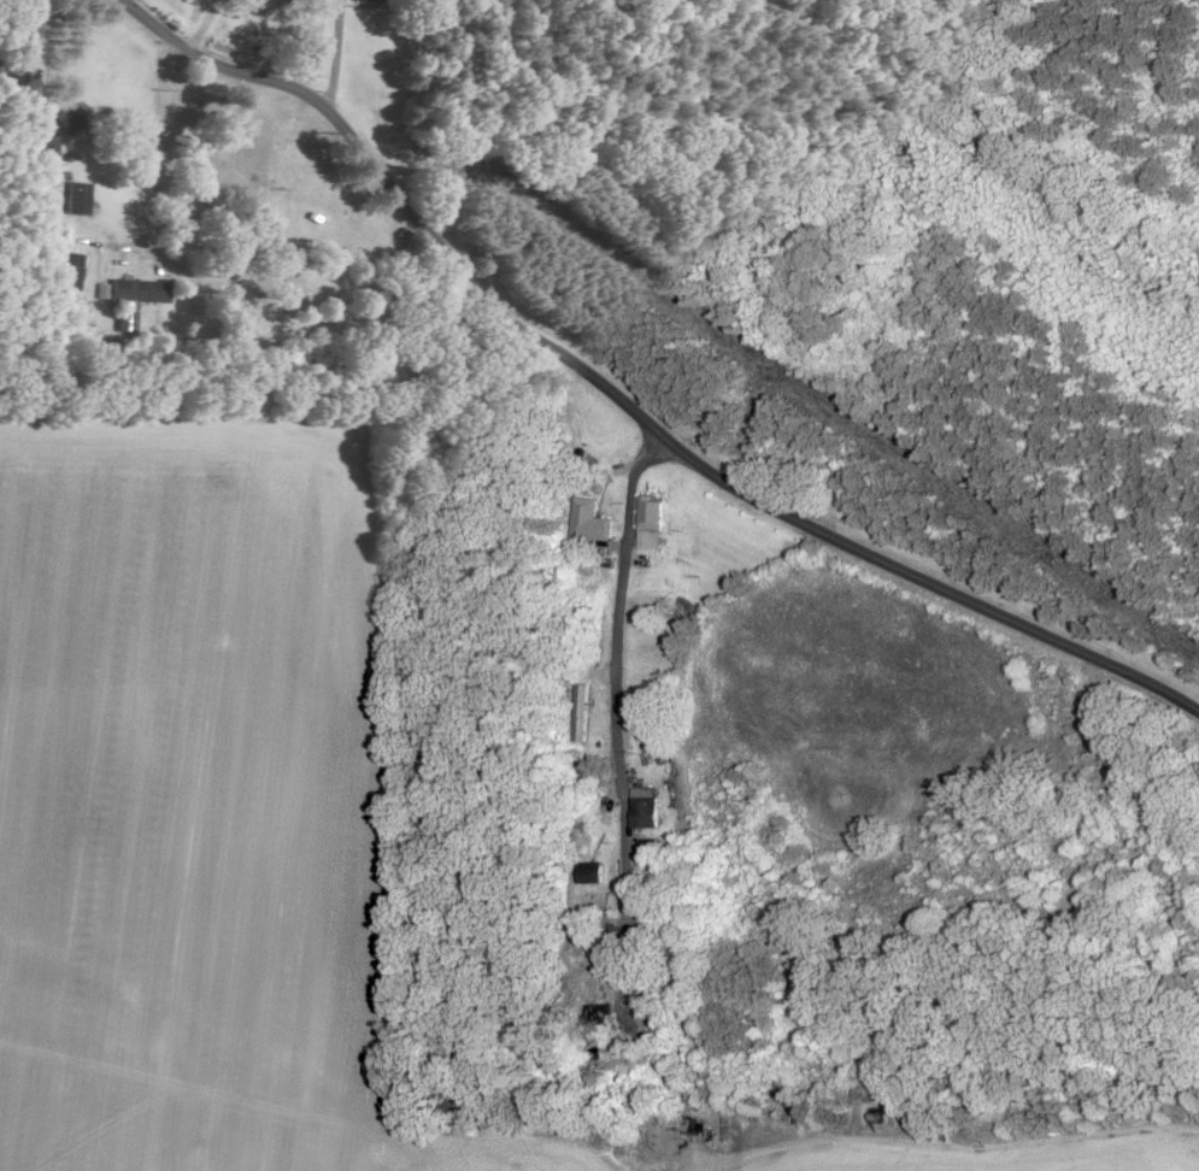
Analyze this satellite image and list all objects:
building: (368, 1)
road: (402, 57)
building: (65, 120)
building: (42, 148)
building: (74, 200)
building: (65, 273)
building: (130, 293)
road: (660, 378)
building: (588, 523)
building: (648, 524)
building: (581, 714)
building: (643, 808)
building: (646, 849)
building: (589, 875)

